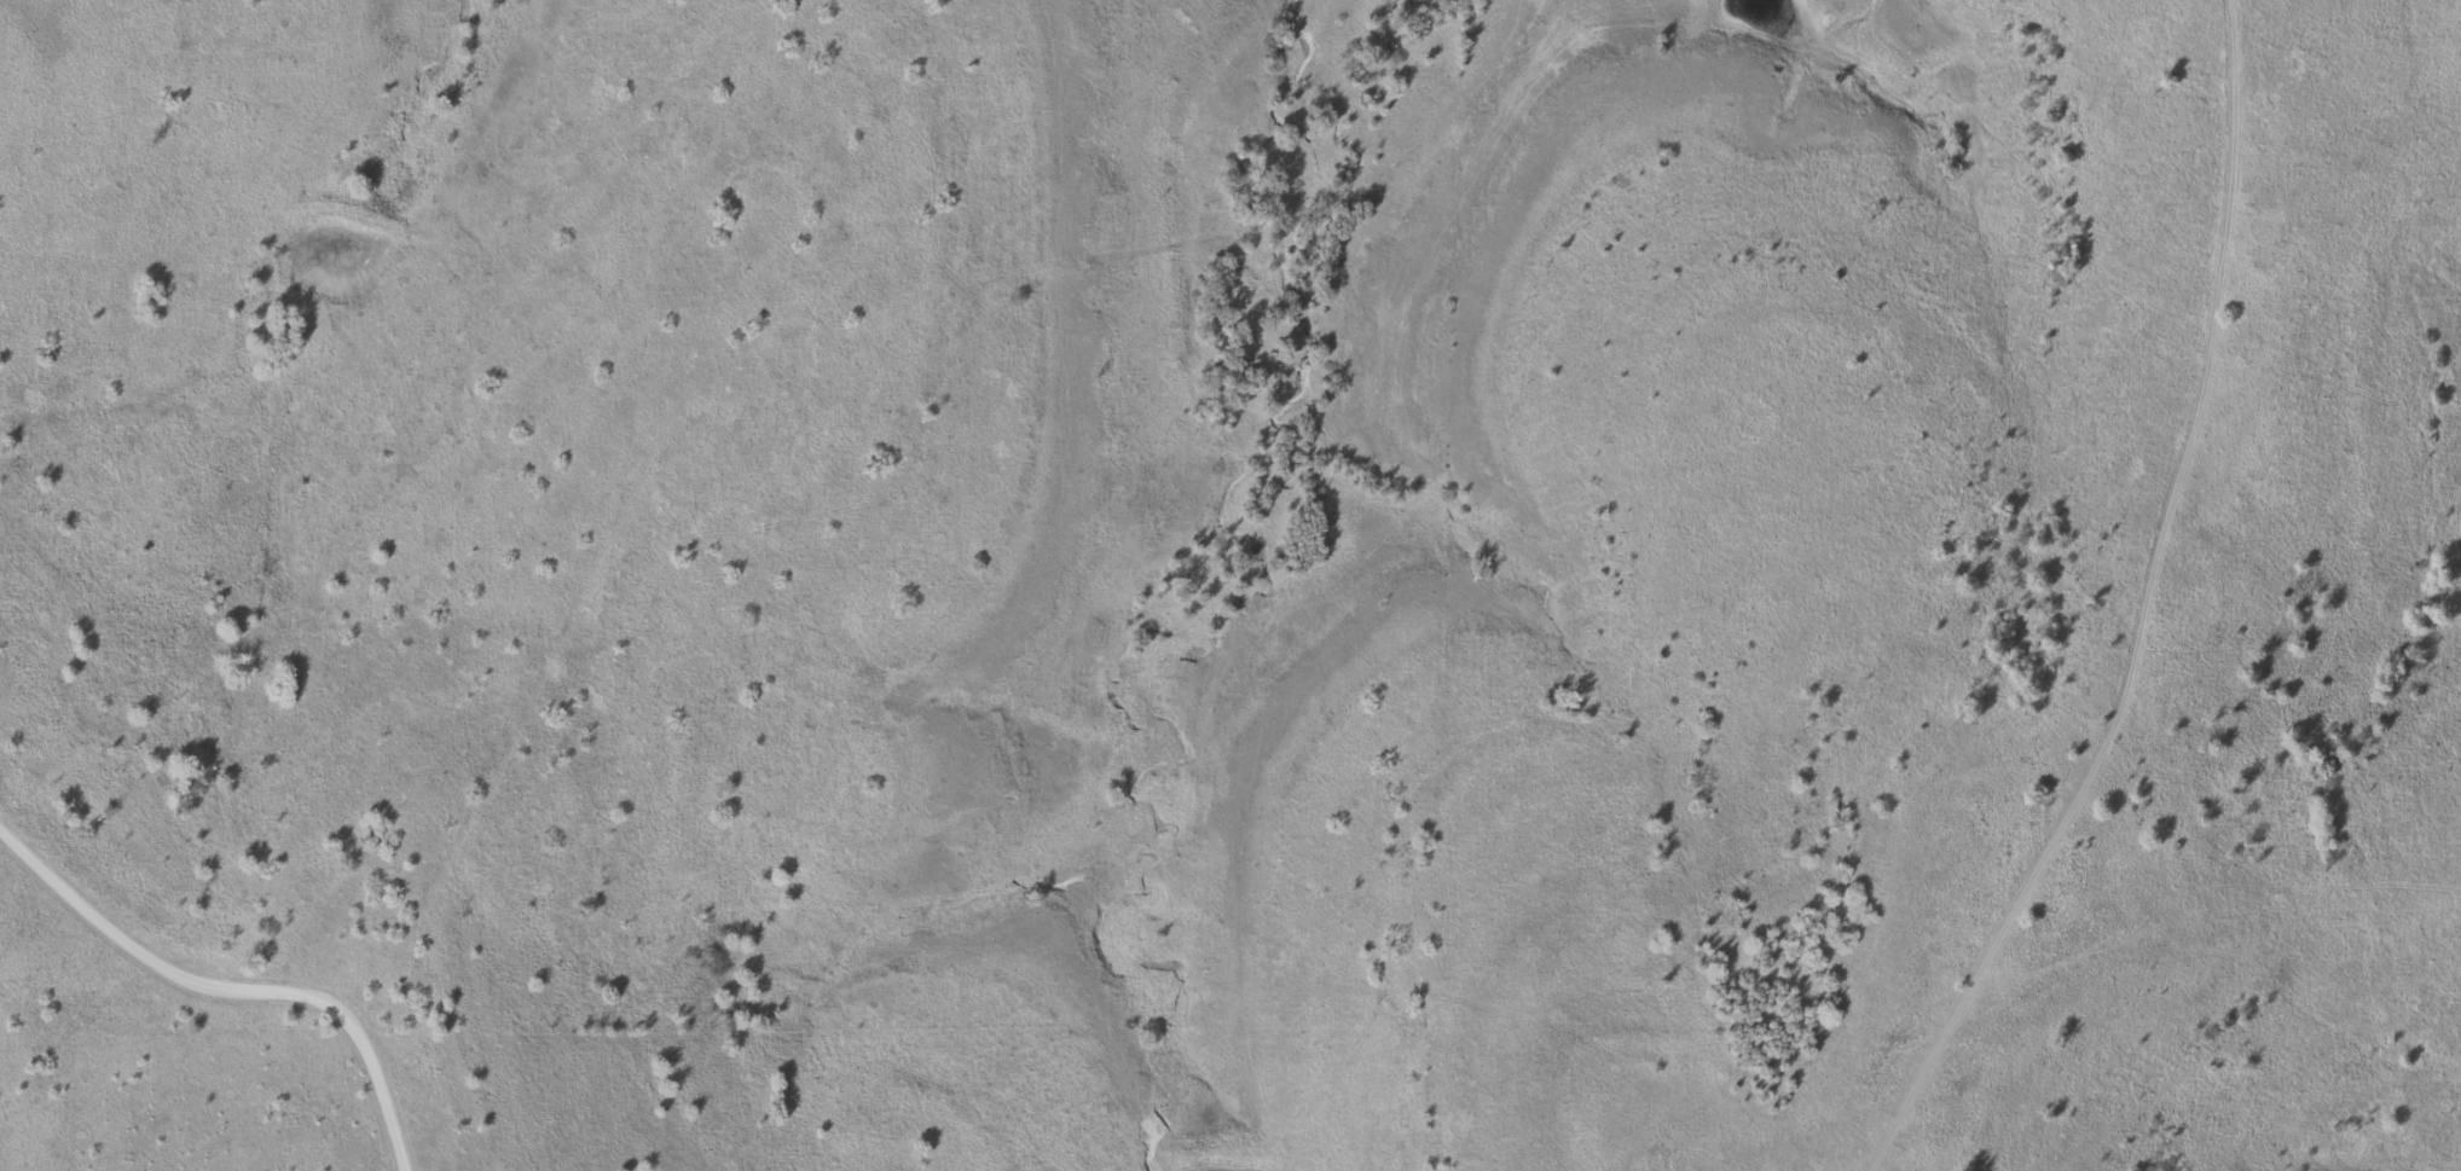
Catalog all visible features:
road: (2118, 605)
road: (204, 999)

